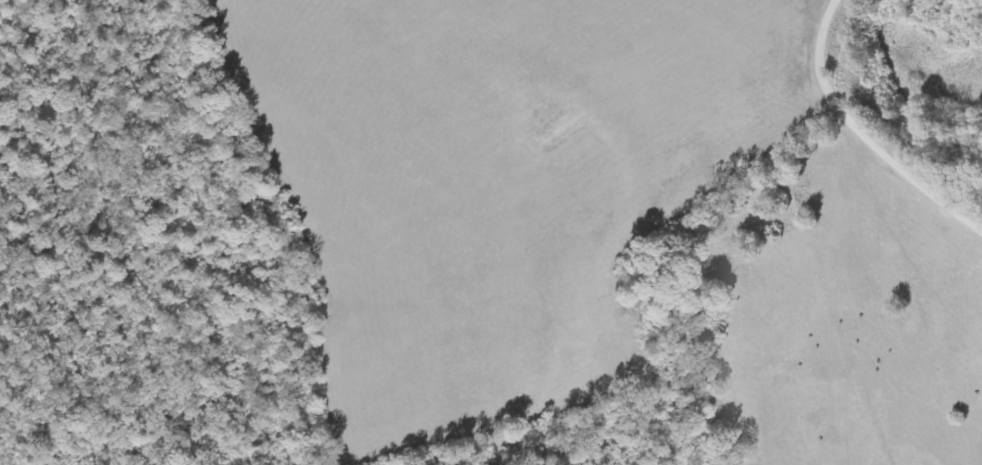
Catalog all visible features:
road: (863, 135)

